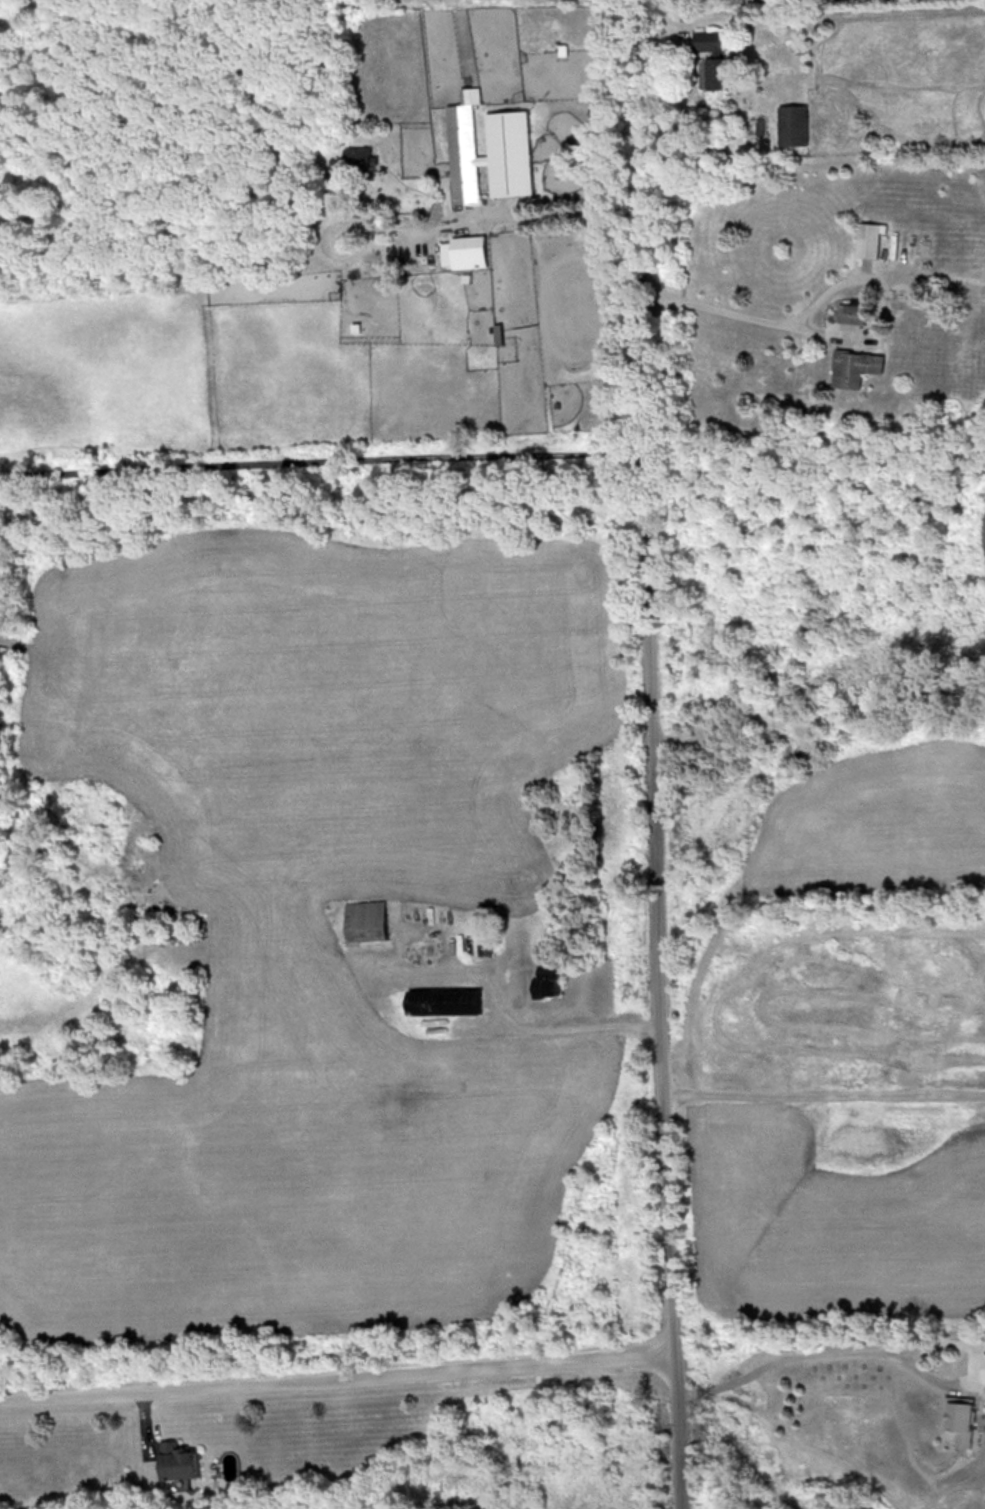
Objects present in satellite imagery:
building: (712, 57)
building: (793, 125)
building: (488, 150)
building: (359, 157)
road: (519, 217)
building: (869, 239)
building: (465, 251)
road: (745, 313)
building: (853, 313)
building: (857, 367)
road: (321, 456)
road: (652, 754)
building: (366, 920)
building: (549, 981)
building: (444, 1001)
road: (507, 1027)
road: (823, 1095)
road: (880, 1355)
building: (984, 1368)
road: (336, 1381)
building: (959, 1419)
building: (178, 1461)

